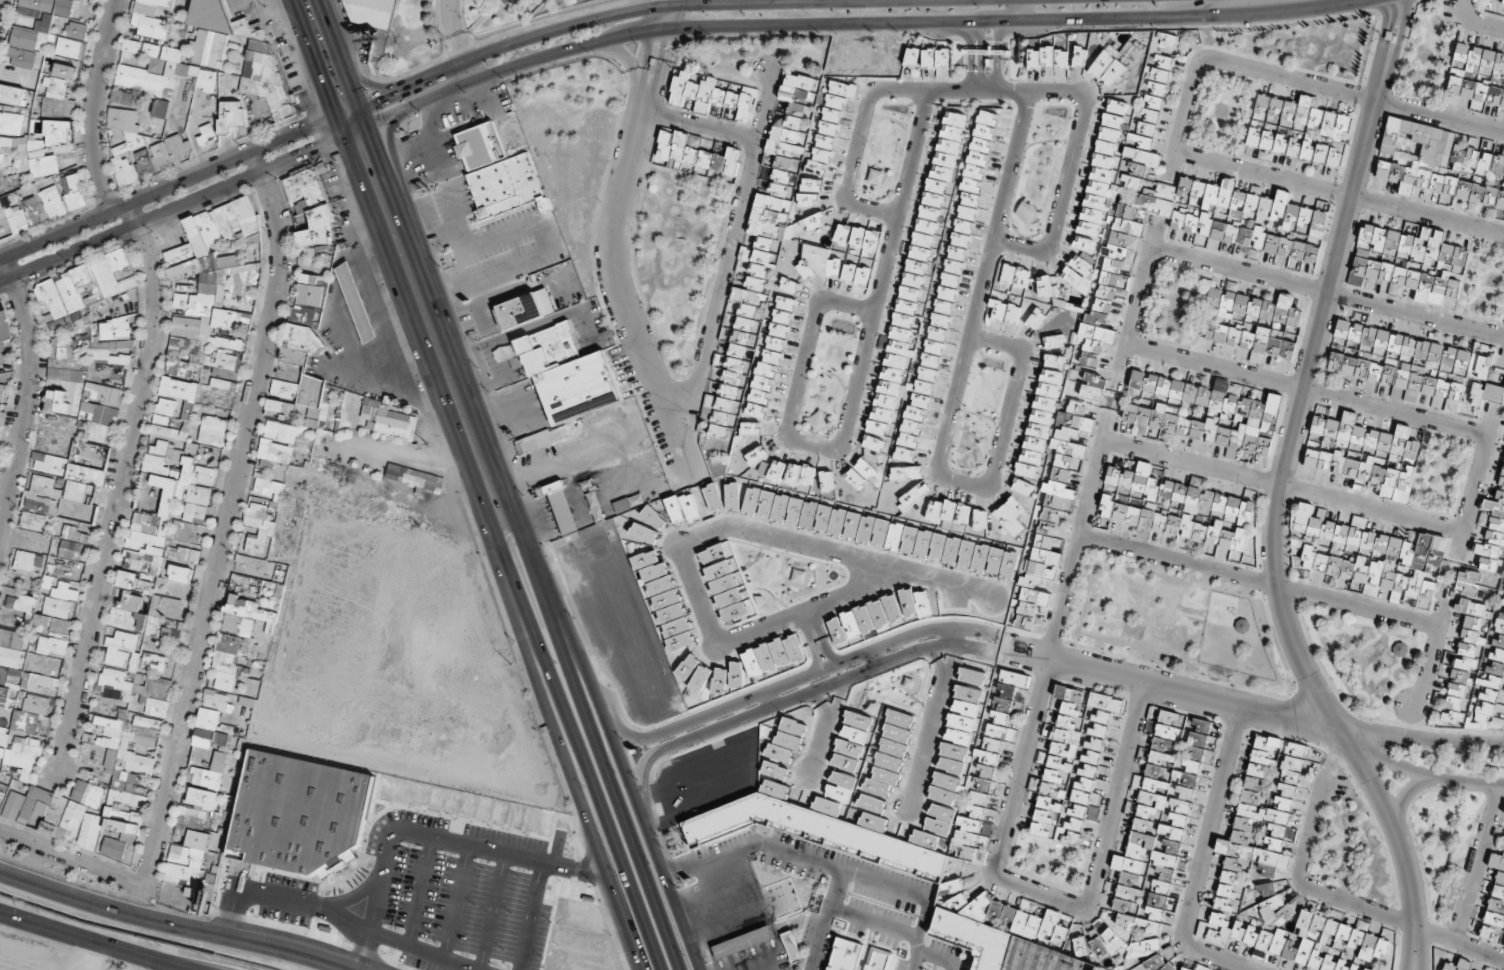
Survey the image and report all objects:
park: (507, 13)
park: (1305, 43)
park: (677, 259)

